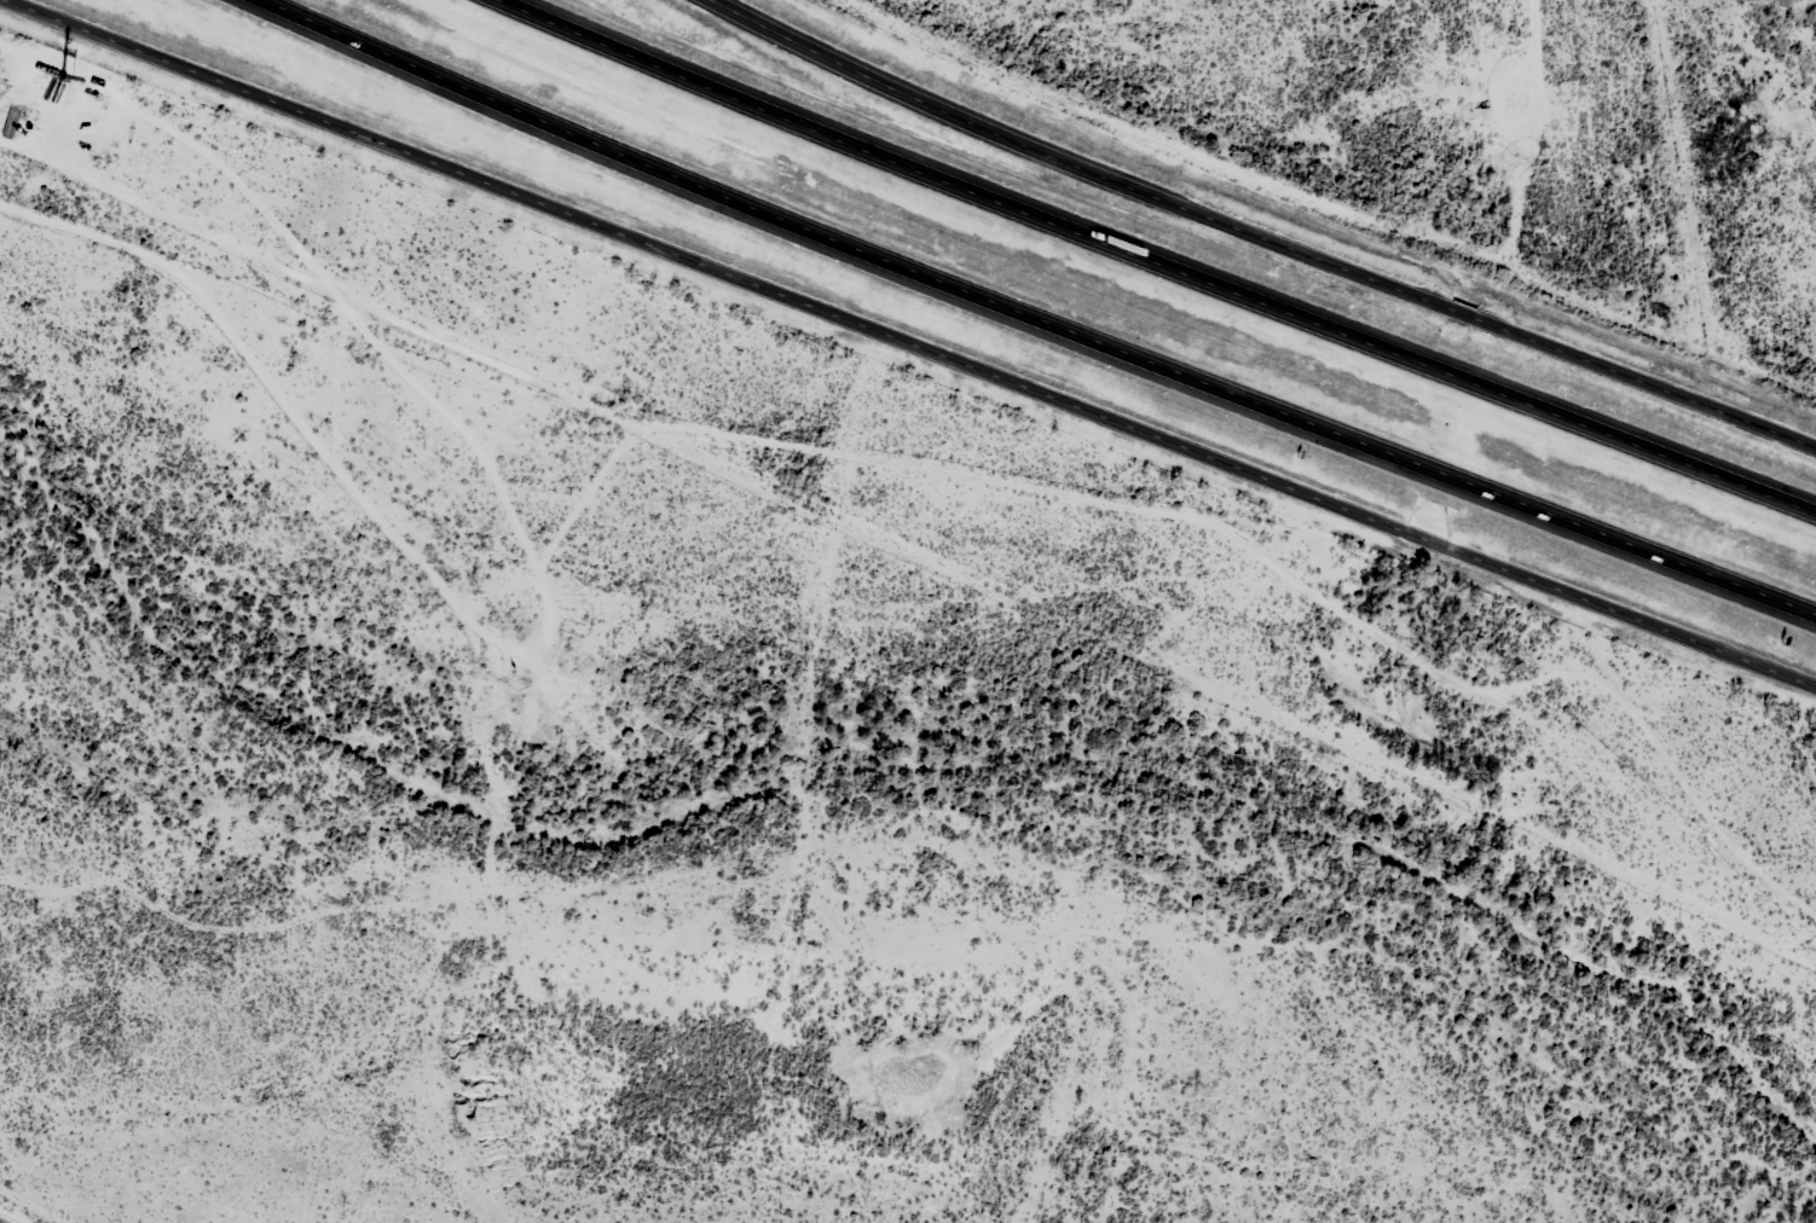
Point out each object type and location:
road: (1262, 233)
road: (1173, 256)
road: (1045, 306)
road: (915, 341)

